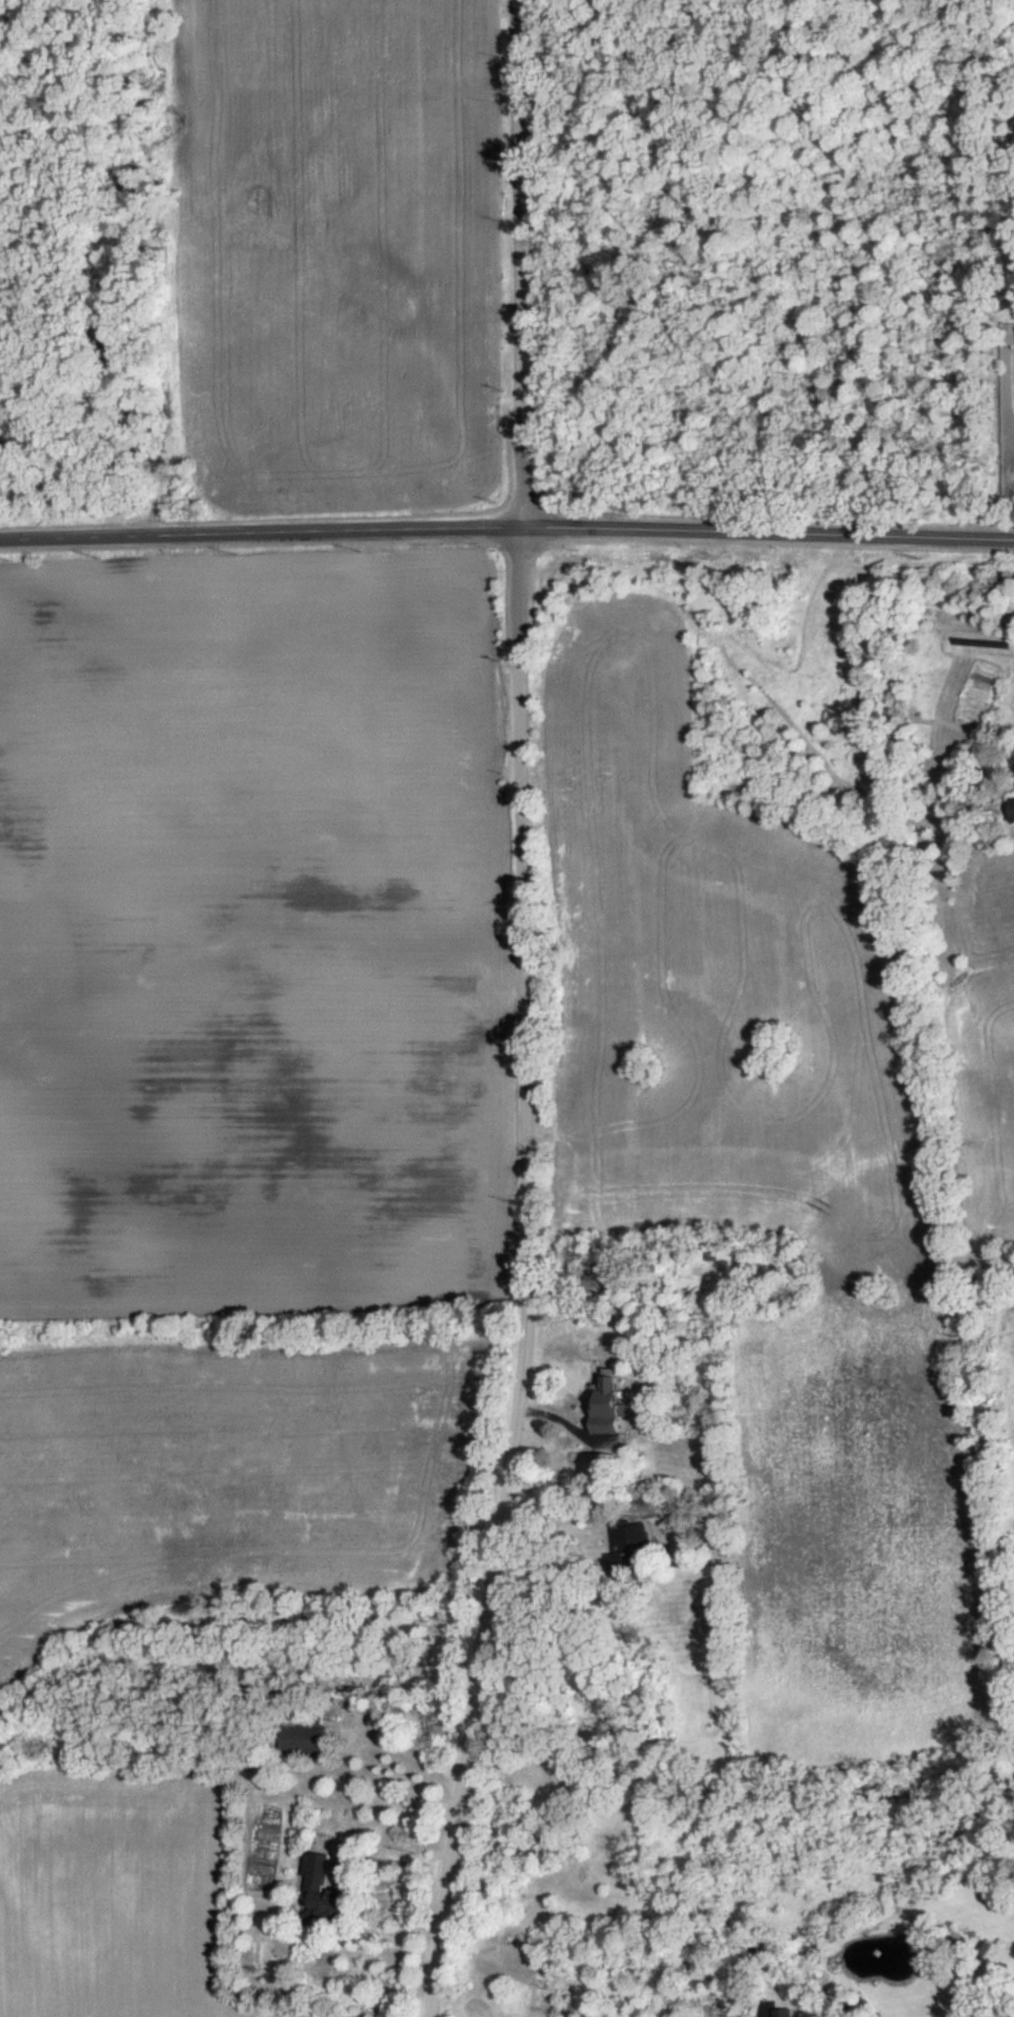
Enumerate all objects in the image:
road: (507, 535)
building: (1011, 803)
road: (528, 813)
building: (594, 1279)
building: (586, 1426)
building: (563, 1445)
road: (563, 1500)
road: (482, 1633)
building: (309, 1739)
road: (411, 1757)
road: (456, 1829)
road: (354, 1886)
building: (320, 1888)

